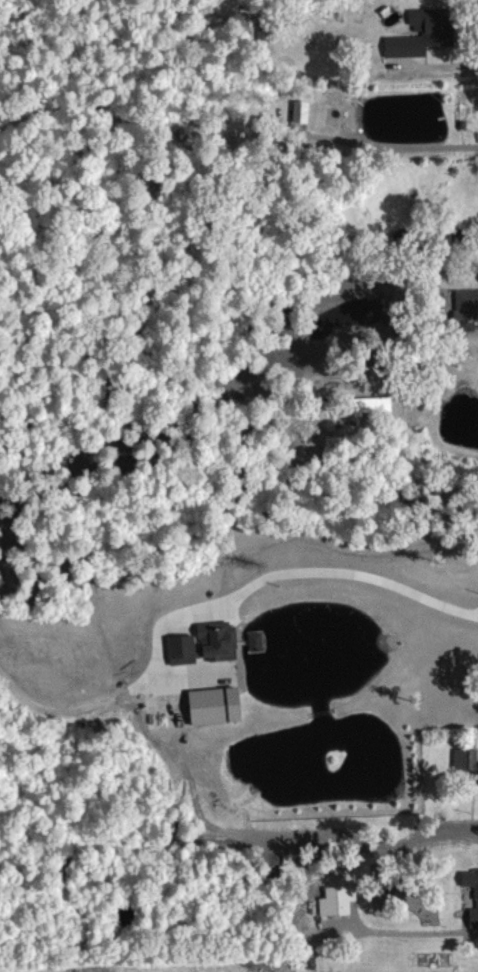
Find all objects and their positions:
building: (422, 45)
building: (300, 123)
building: (466, 321)
building: (372, 418)
road: (331, 584)
building: (255, 653)
building: (205, 656)
building: (215, 717)
building: (467, 774)
building: (476, 909)
building: (338, 912)
road: (435, 944)

